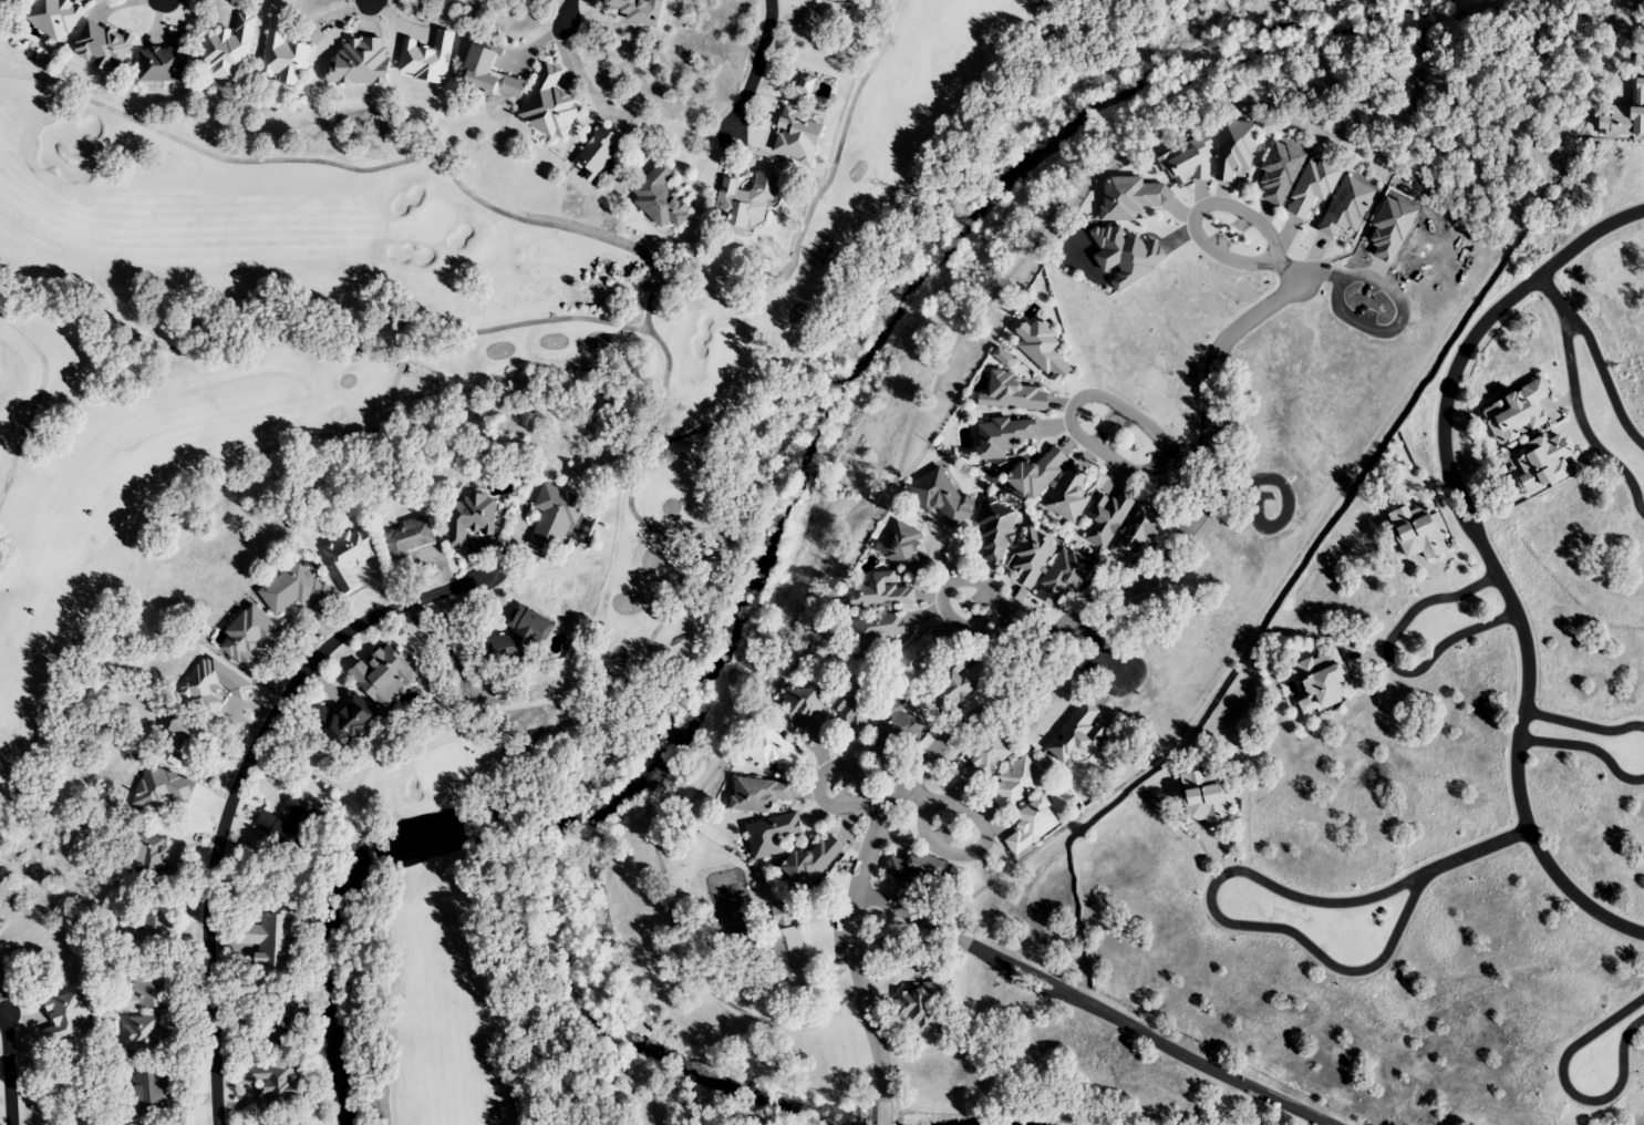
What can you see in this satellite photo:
building: (824, 0)
road: (370, 1)
park: (1565, 7)
road: (566, 13)
building: (53, 17)
building: (102, 45)
building: (227, 50)
building: (283, 56)
building: (426, 60)
building: (165, 61)
road: (754, 65)
building: (490, 75)
building: (549, 105)
building: (797, 136)
building: (599, 149)
building: (660, 199)
building: (745, 203)
road: (1192, 224)
road: (1290, 272)
road: (1321, 275)
road: (1551, 291)
road: (1382, 330)
road: (1564, 342)
building: (1004, 358)
building: (1013, 394)
road: (1086, 395)
building: (1516, 412)
building: (1003, 437)
park: (517, 461)
road: (1192, 462)
building: (1543, 463)
building: (1037, 474)
road: (1223, 487)
building: (1069, 494)
building: (941, 498)
road: (1285, 499)
building: (1107, 517)
building: (469, 518)
building: (554, 518)
building: (1138, 530)
building: (996, 531)
building: (1419, 533)
building: (406, 541)
building: (906, 548)
road: (1486, 554)
building: (348, 557)
building: (1031, 558)
building: (1063, 576)
road: (943, 588)
building: (294, 589)
building: (881, 594)
building: (873, 633)
building: (521, 636)
road: (1098, 643)
road: (1016, 657)
road: (1388, 660)
building: (917, 662)
road: (1028, 673)
building: (1320, 681)
building: (213, 683)
building: (959, 684)
building: (850, 710)
building: (808, 713)
building: (350, 721)
road: (1583, 724)
building: (893, 731)
building: (184, 732)
road: (1586, 745)
building: (775, 752)
building: (988, 756)
road: (820, 775)
building: (1015, 784)
road: (237, 785)
road: (912, 789)
building: (758, 795)
building: (1207, 798)
road: (870, 805)
building: (290, 825)
building: (1032, 826)
road: (984, 830)
building: (771, 835)
building: (151, 863)
building: (811, 863)
building: (919, 871)
building: (158, 921)
road: (1272, 928)
building: (270, 940)
building: (790, 952)
building: (148, 993)
road: (1092, 1007)
building: (924, 1009)
building: (65, 1019)
building: (278, 1024)
building: (147, 1040)
road: (7, 1069)
building: (276, 1083)
building: (154, 1090)
road: (1569, 1090)

